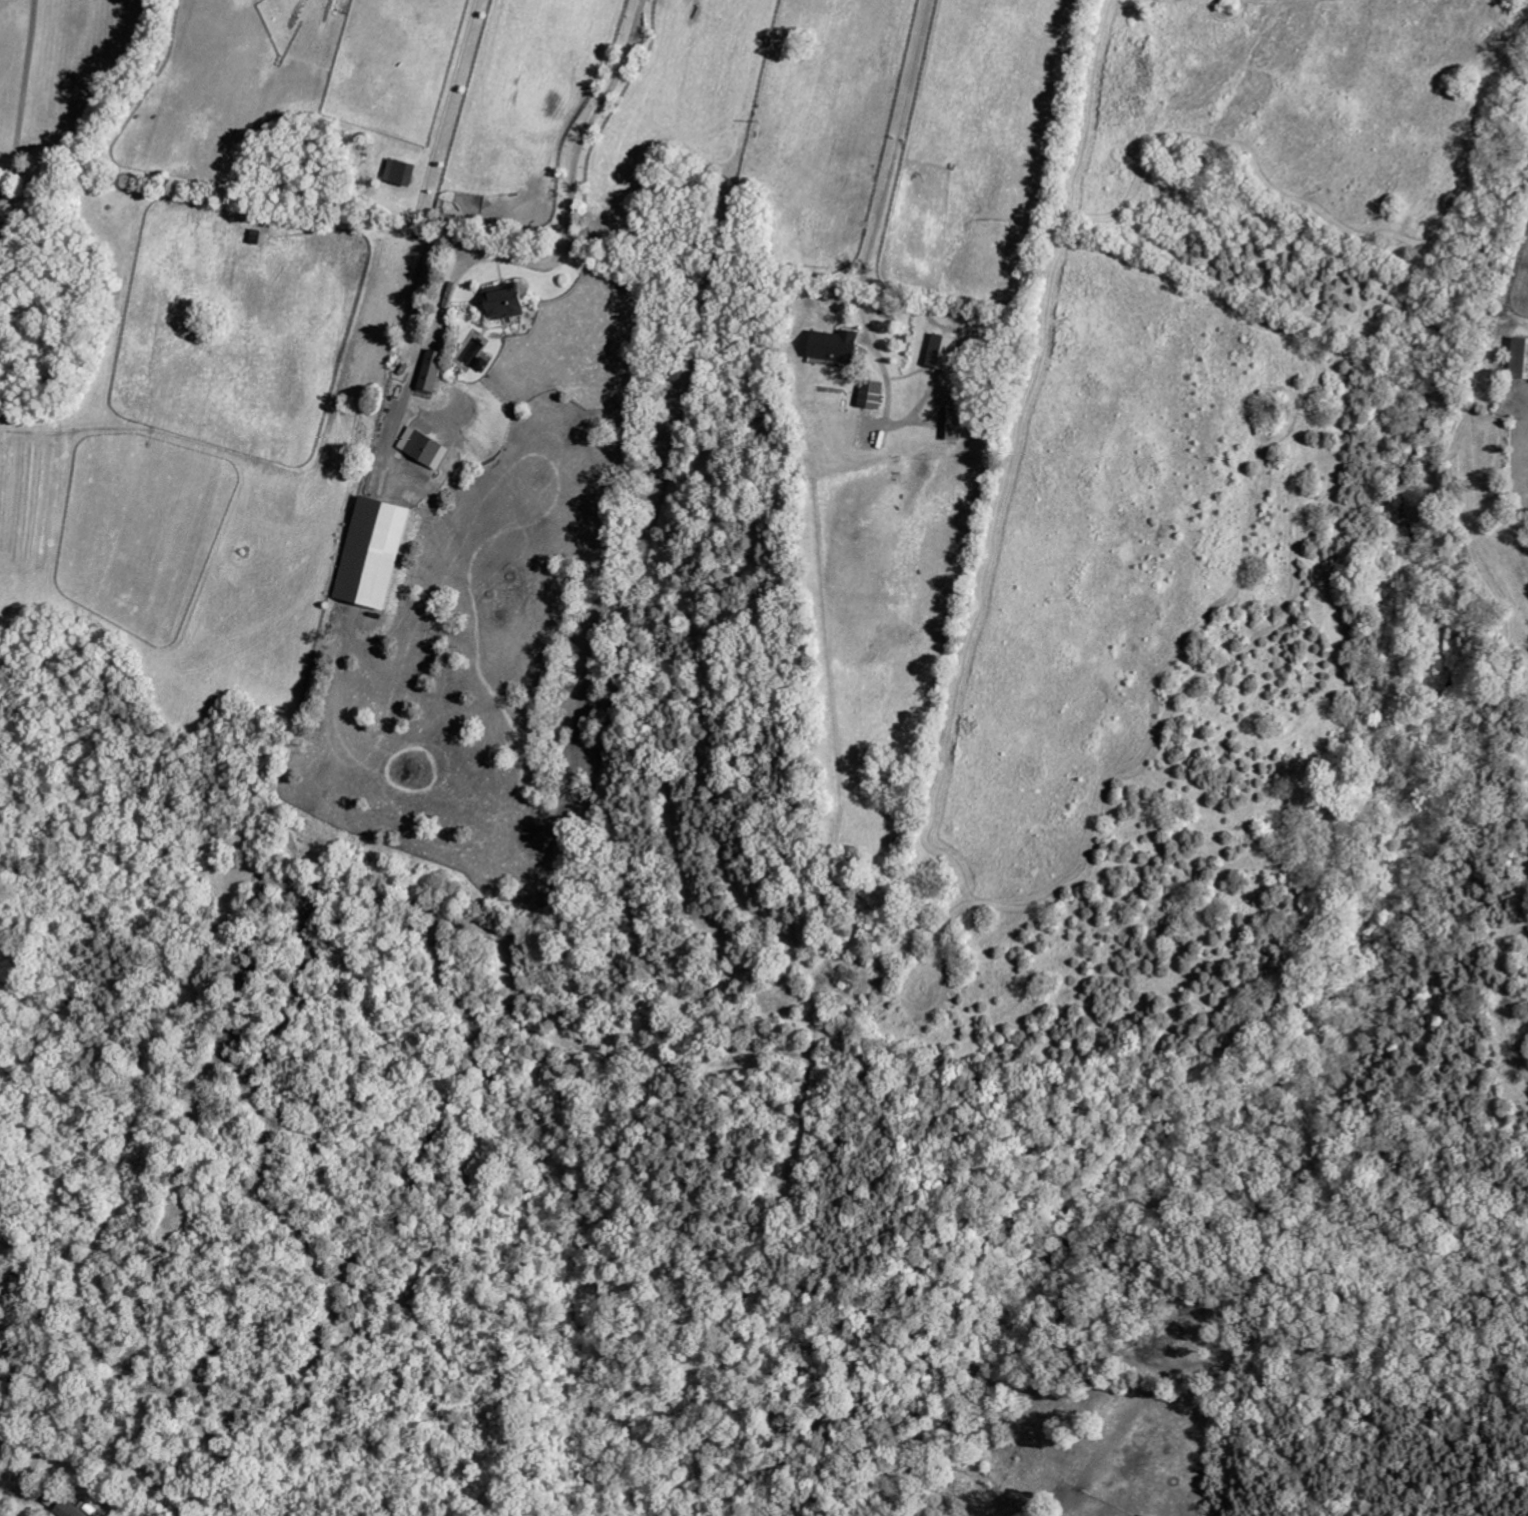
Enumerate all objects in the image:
road: (24, 89)
road: (444, 112)
road: (576, 155)
building: (404, 173)
road: (886, 183)
building: (2, 235)
road: (429, 333)
building: (840, 347)
building: (946, 353)
building: (1522, 360)
building: (485, 365)
building: (434, 373)
building: (875, 395)
building: (957, 425)
building: (427, 449)
building: (377, 554)
road: (5, 1456)
building: (71, 1510)

